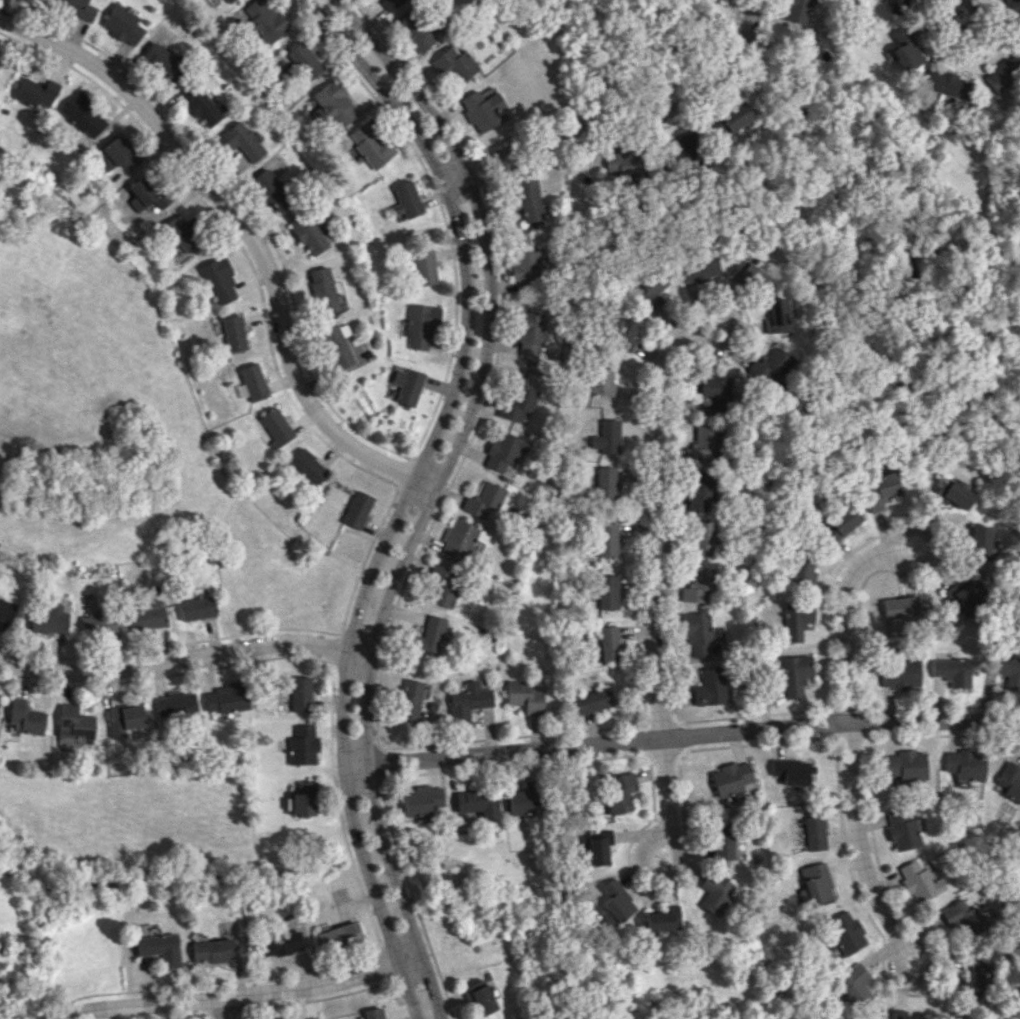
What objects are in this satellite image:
building: (230, 1)
building: (390, 3)
building: (896, 6)
building: (78, 8)
building: (1013, 9)
building: (796, 10)
building: (266, 19)
building: (123, 24)
building: (415, 30)
road: (957, 32)
building: (905, 50)
building: (305, 60)
building: (163, 61)
building: (454, 64)
building: (1003, 77)
building: (946, 83)
building: (37, 93)
building: (336, 103)
building: (202, 104)
building: (483, 110)
building: (84, 114)
building: (731, 119)
road: (627, 122)
building: (240, 145)
building: (371, 145)
building: (117, 155)
building: (271, 189)
building: (148, 191)
building: (408, 198)
building: (528, 199)
building: (310, 232)
road: (249, 233)
building: (178, 234)
building: (697, 265)
building: (424, 266)
building: (526, 269)
building: (751, 275)
building: (220, 280)
building: (655, 288)
building: (323, 290)
road: (727, 314)
building: (776, 315)
building: (421, 324)
building: (625, 331)
building: (234, 332)
building: (531, 333)
building: (337, 345)
road: (736, 354)
building: (771, 365)
building: (605, 381)
building: (252, 382)
building: (408, 385)
building: (713, 394)
building: (520, 402)
building: (276, 426)
building: (608, 437)
building: (704, 444)
building: (505, 450)
building: (308, 466)
building: (606, 482)
building: (881, 490)
road: (410, 491)
building: (700, 491)
road: (435, 492)
building: (952, 494)
building: (485, 499)
building: (358, 509)
building: (841, 524)
building: (462, 538)
building: (704, 538)
building: (608, 539)
road: (932, 539)
building: (981, 540)
building: (803, 569)
road: (654, 577)
building: (443, 585)
building: (700, 586)
building: (608, 591)
building: (965, 596)
building: (900, 606)
building: (6, 607)
building: (196, 608)
building: (148, 615)
building: (49, 619)
building: (797, 620)
building: (100, 621)
building: (429, 637)
building: (703, 637)
building: (610, 642)
road: (186, 656)
building: (952, 671)
building: (1008, 671)
building: (901, 672)
building: (794, 674)
building: (710, 687)
building: (300, 693)
building: (526, 696)
building: (410, 699)
building: (593, 700)
building: (469, 701)
building: (175, 705)
building: (25, 717)
building: (123, 719)
building: (73, 724)
road: (681, 736)
road: (849, 737)
building: (302, 745)
road: (709, 747)
building: (966, 764)
building: (906, 766)
building: (793, 771)
building: (729, 780)
building: (1010, 780)
building: (618, 792)
building: (304, 799)
building: (523, 799)
building: (421, 800)
building: (478, 803)
building: (902, 830)
building: (813, 832)
building: (726, 840)
building: (598, 846)
road: (654, 874)
building: (920, 881)
building: (815, 882)
building: (713, 891)
building: (614, 902)
building: (673, 915)
building: (961, 917)
building: (657, 923)
building: (844, 933)
building: (339, 936)
building: (280, 943)
building: (159, 948)
building: (211, 949)
road: (923, 976)
building: (974, 979)
building: (853, 984)
road: (244, 995)
building: (479, 996)
road: (226, 1008)
building: (374, 1013)
building: (909, 1017)
building: (285, 1018)

